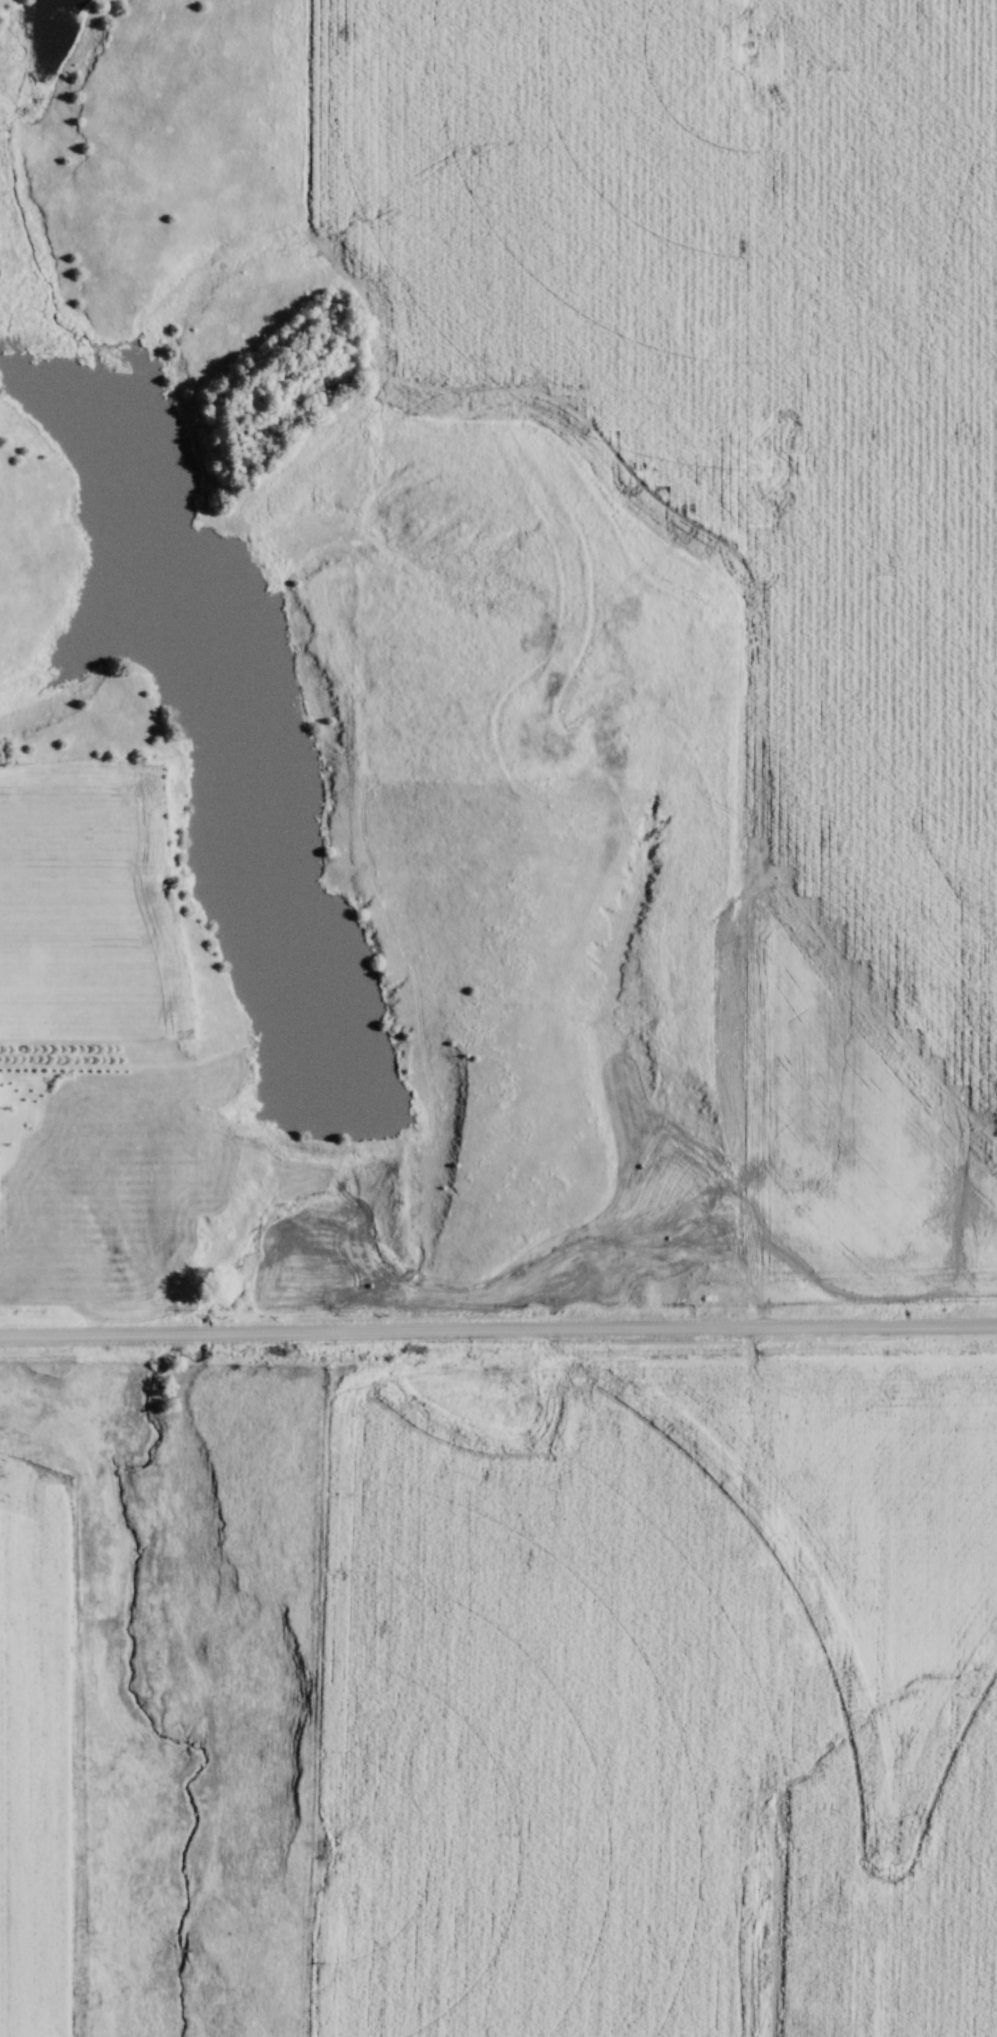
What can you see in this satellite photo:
crop: (557, 223)
road: (498, 1332)

